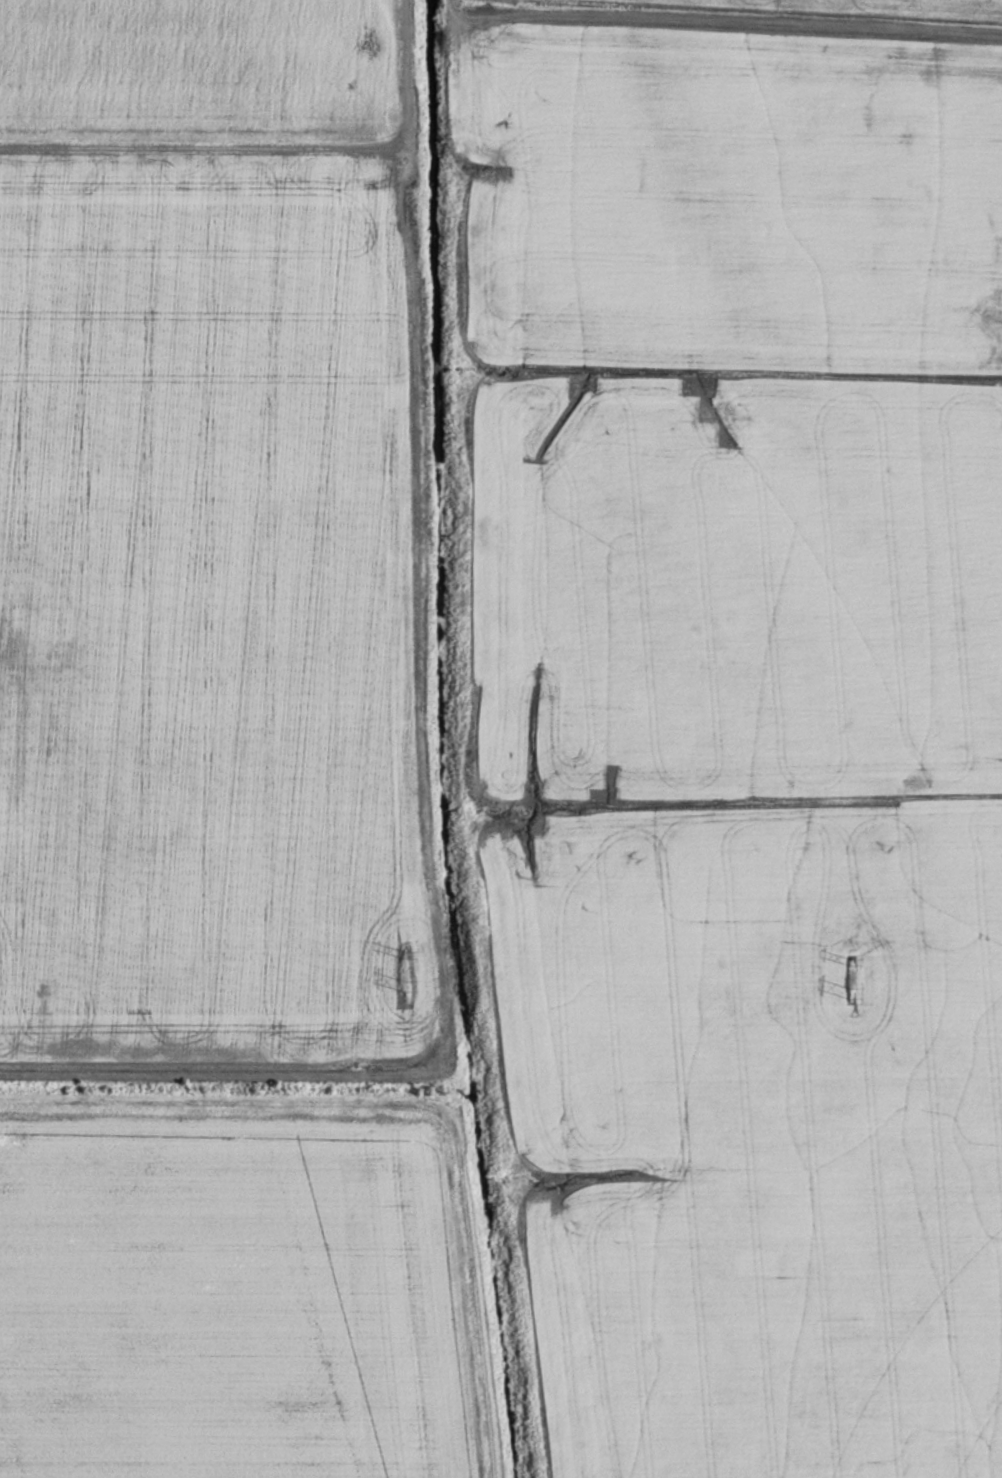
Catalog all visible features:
road: (409, 1099)

